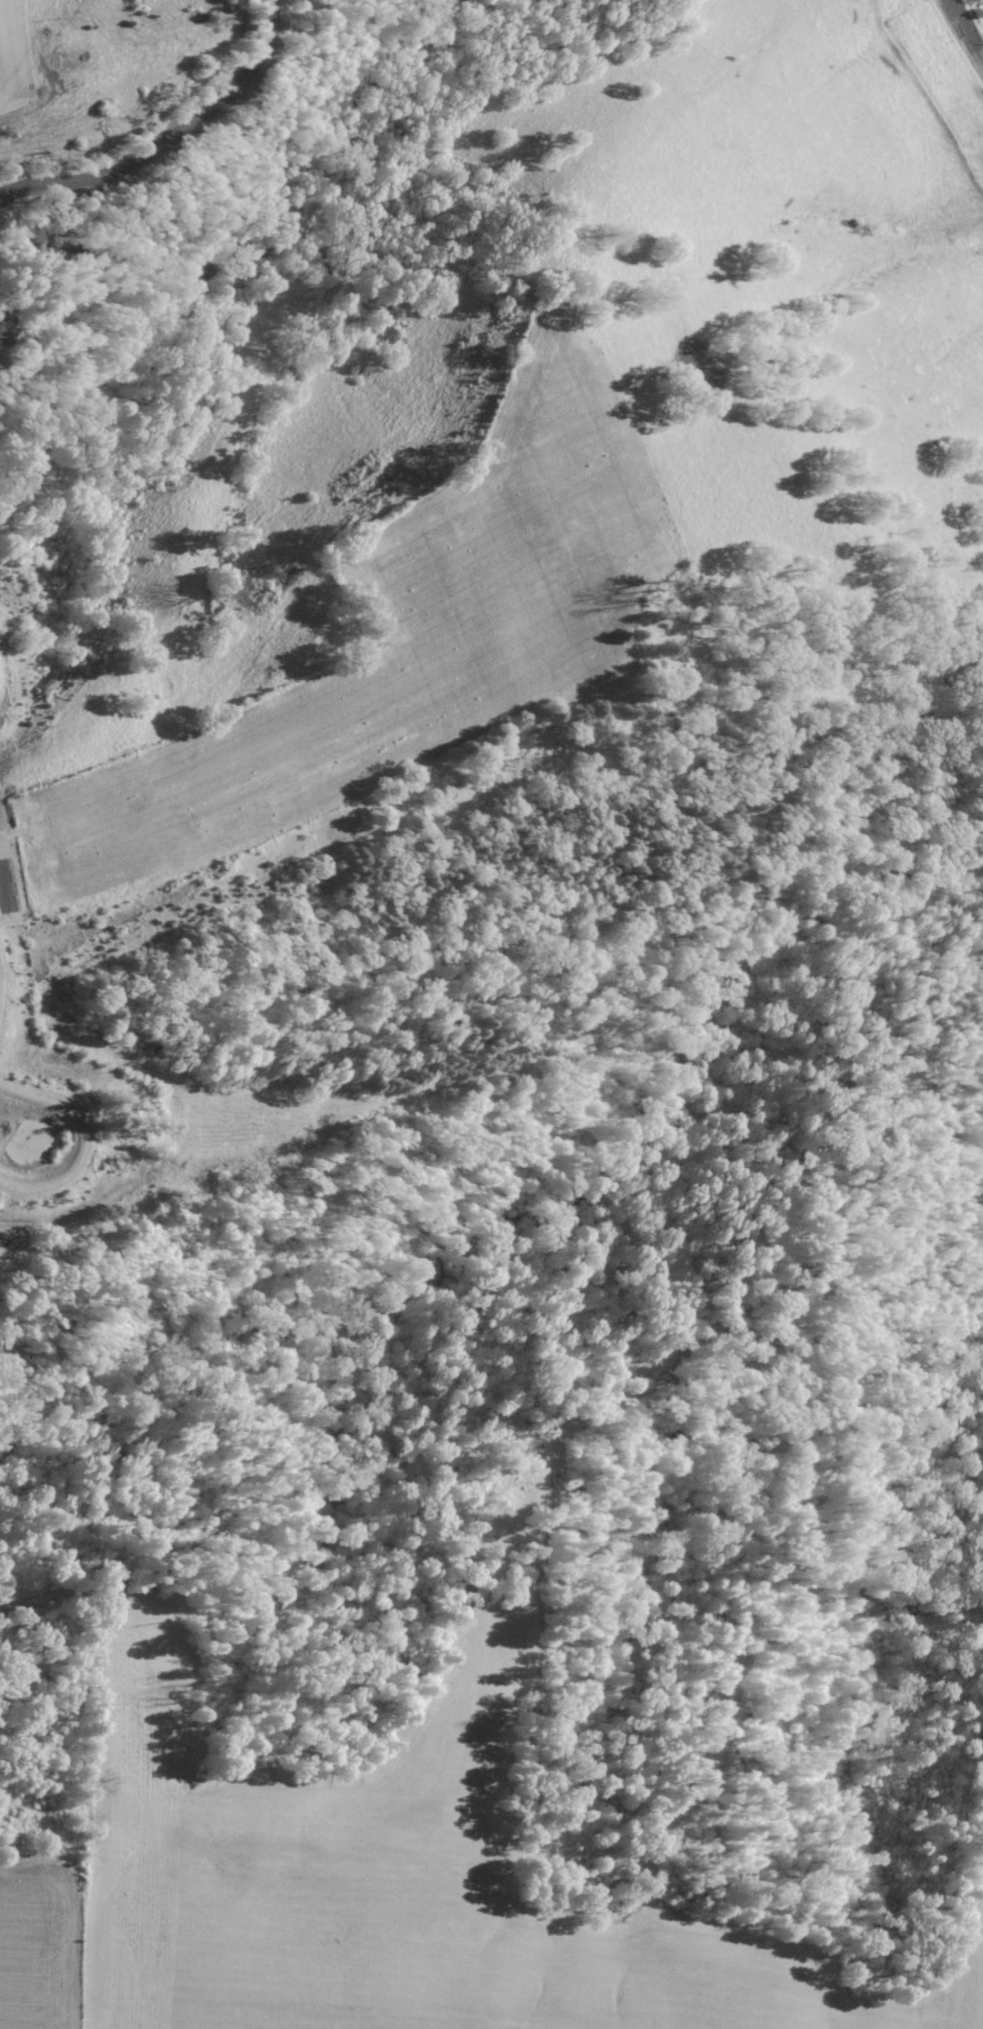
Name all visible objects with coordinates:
road: (167, 140)

